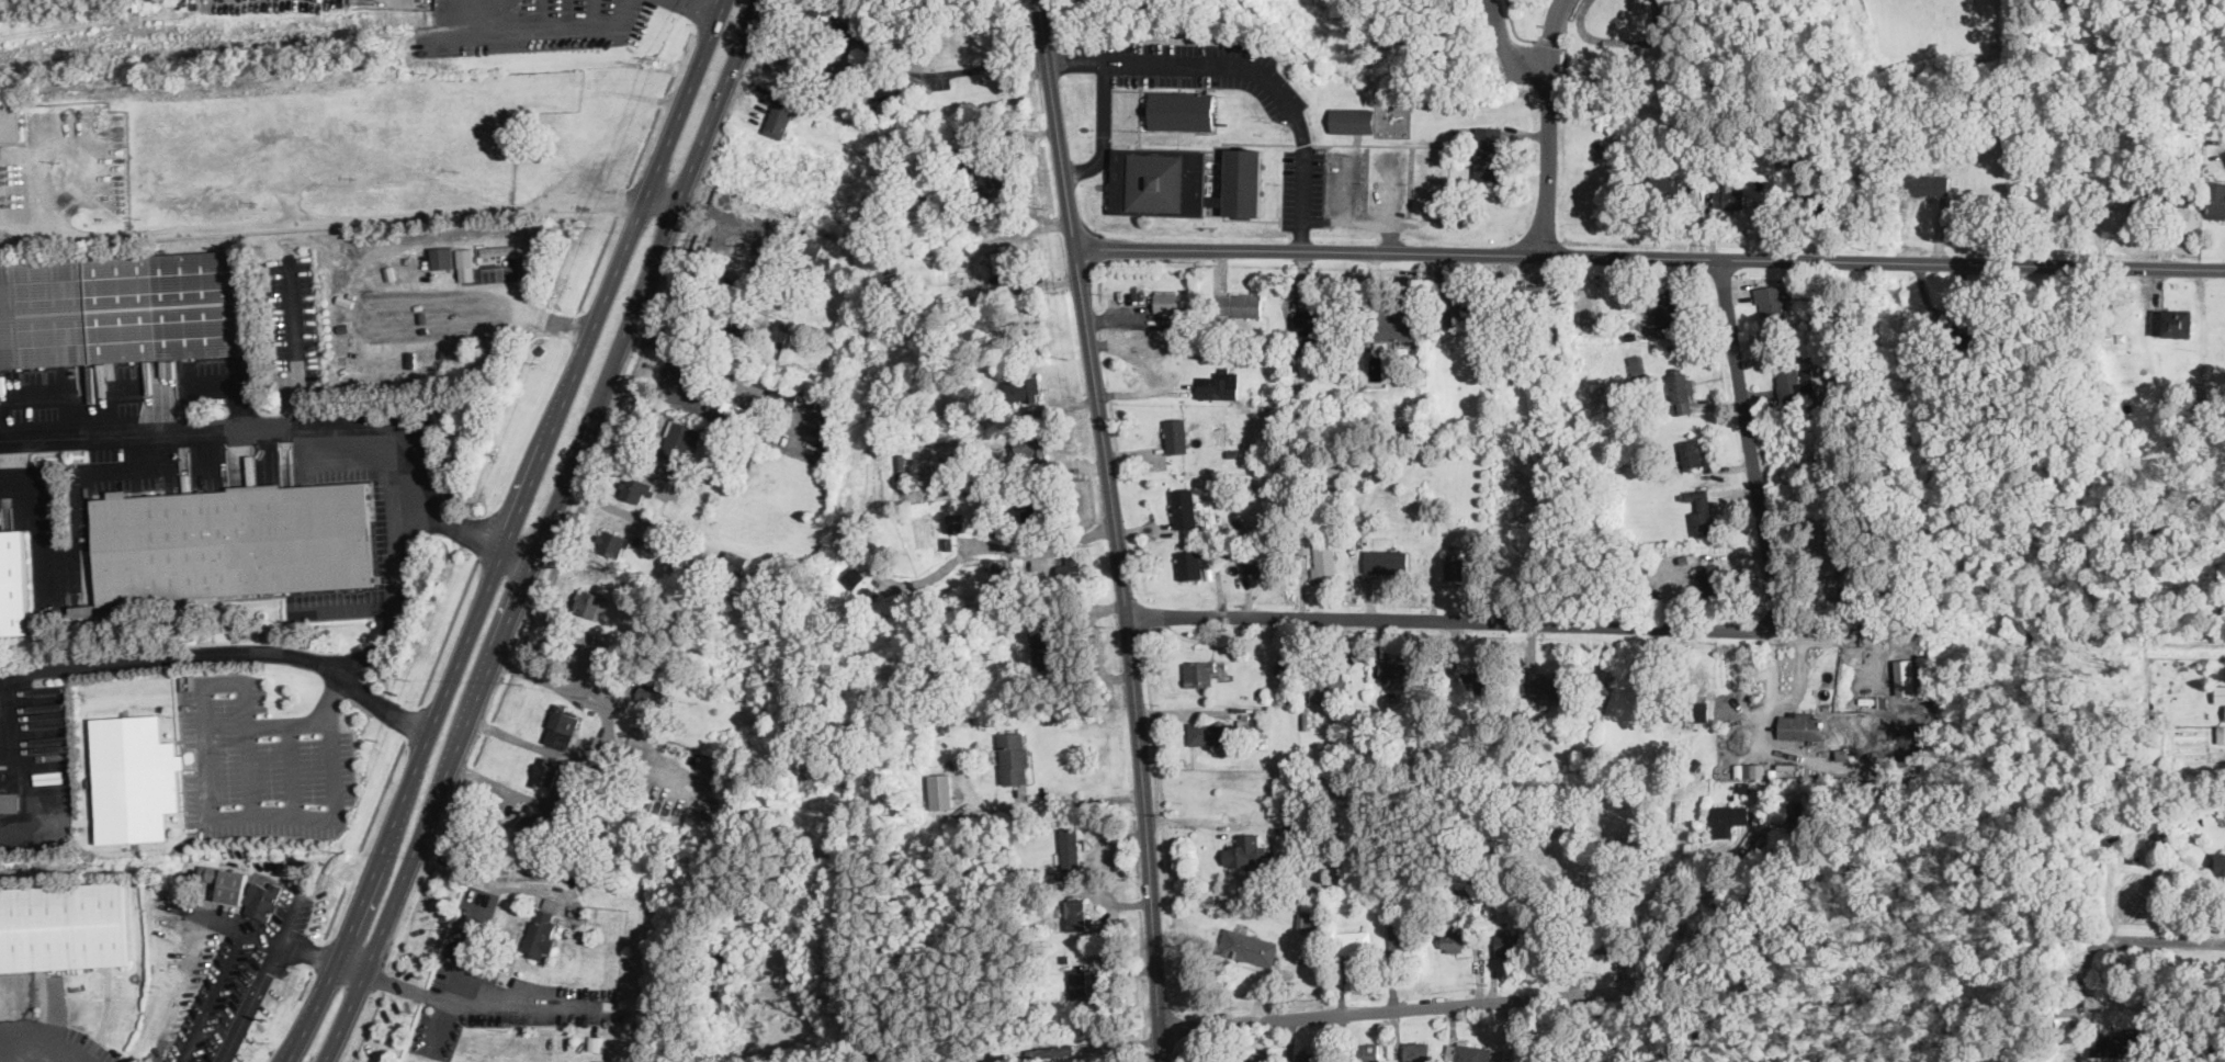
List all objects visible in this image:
road: (700, 5)
road: (550, 18)
road: (1512, 27)
road: (542, 35)
road: (1501, 36)
road: (1549, 41)
road: (1550, 43)
road: (1565, 43)
building: (846, 61)
road: (1251, 68)
road: (905, 71)
building: (1183, 110)
building: (782, 113)
building: (2218, 116)
building: (1352, 120)
building: (10, 122)
road: (1105, 129)
road: (1549, 149)
building: (1488, 152)
building: (1787, 154)
building: (992, 177)
building: (1185, 181)
building: (1665, 181)
building: (1927, 183)
building: (1729, 195)
road: (659, 199)
building: (2216, 199)
building: (2160, 200)
road: (386, 217)
road: (66, 235)
building: (523, 245)
building: (495, 250)
building: (442, 256)
road: (1650, 257)
building: (1012, 259)
building: (466, 262)
building: (1527, 295)
building: (1167, 300)
building: (1774, 302)
building: (1239, 303)
building: (1664, 306)
building: (118, 308)
building: (1462, 313)
building: (2172, 321)
building: (1392, 325)
building: (1313, 332)
building: (1966, 335)
road: (676, 350)
building: (1637, 364)
road: (214, 379)
building: (1794, 382)
building: (1217, 384)
building: (1682, 388)
building: (1023, 389)
building: (790, 393)
building: (724, 410)
road: (279, 430)
building: (1176, 434)
building: (679, 442)
building: (1029, 444)
road: (1751, 445)
building: (1691, 452)
road: (11, 465)
building: (637, 487)
road: (611, 507)
building: (1186, 508)
building: (1036, 511)
building: (1702, 511)
building: (956, 521)
road: (1115, 529)
road: (506, 531)
road: (543, 531)
building: (234, 541)
building: (611, 541)
road: (997, 545)
road: (515, 555)
building: (1324, 560)
building: (1387, 560)
building: (734, 562)
building: (1190, 563)
building: (1256, 563)
building: (1456, 566)
building: (1069, 567)
building: (1003, 568)
building: (855, 575)
building: (1710, 578)
building: (1844, 583)
building: (14, 585)
road: (402, 598)
building: (588, 601)
road: (1509, 621)
building: (1044, 645)
road: (225, 651)
building: (1200, 673)
building: (1399, 676)
building: (1904, 676)
building: (1473, 681)
building: (1325, 685)
building: (1549, 685)
road: (611, 690)
building: (653, 692)
building: (2221, 693)
road: (335, 698)
road: (1785, 702)
building: (1690, 710)
building: (1800, 724)
building: (562, 726)
building: (1207, 732)
building: (2221, 732)
road: (520, 737)
building: (1014, 756)
building: (708, 764)
road: (292, 766)
road: (248, 767)
building: (1749, 769)
building: (544, 772)
building: (134, 777)
building: (941, 790)
road: (555, 799)
road: (1077, 799)
building: (11, 801)
road: (36, 805)
building: (1802, 811)
road: (337, 813)
building: (1728, 817)
building: (532, 818)
building: (1295, 841)
building: (1071, 847)
building: (1244, 850)
building: (2221, 862)
building: (225, 880)
building: (263, 897)
building: (1646, 907)
building: (1075, 913)
road: (1707, 916)
building: (1308, 920)
building: (63, 926)
building: (541, 931)
building: (1403, 934)
road: (2130, 935)
building: (1454, 936)
building: (1509, 940)
building: (1355, 941)
building: (1249, 946)
road: (466, 947)
road: (236, 960)
road: (351, 965)
building: (1080, 986)
road: (477, 999)
road: (251, 1003)
road: (1424, 1006)
building: (2125, 1041)
building: (2098, 1043)
building: (1050, 1050)
building: (1418, 1051)
building: (1367, 1052)
building: (1468, 1052)
road: (8, 1053)
road: (38, 1054)
building: (1258, 1054)
building: (1311, 1055)

